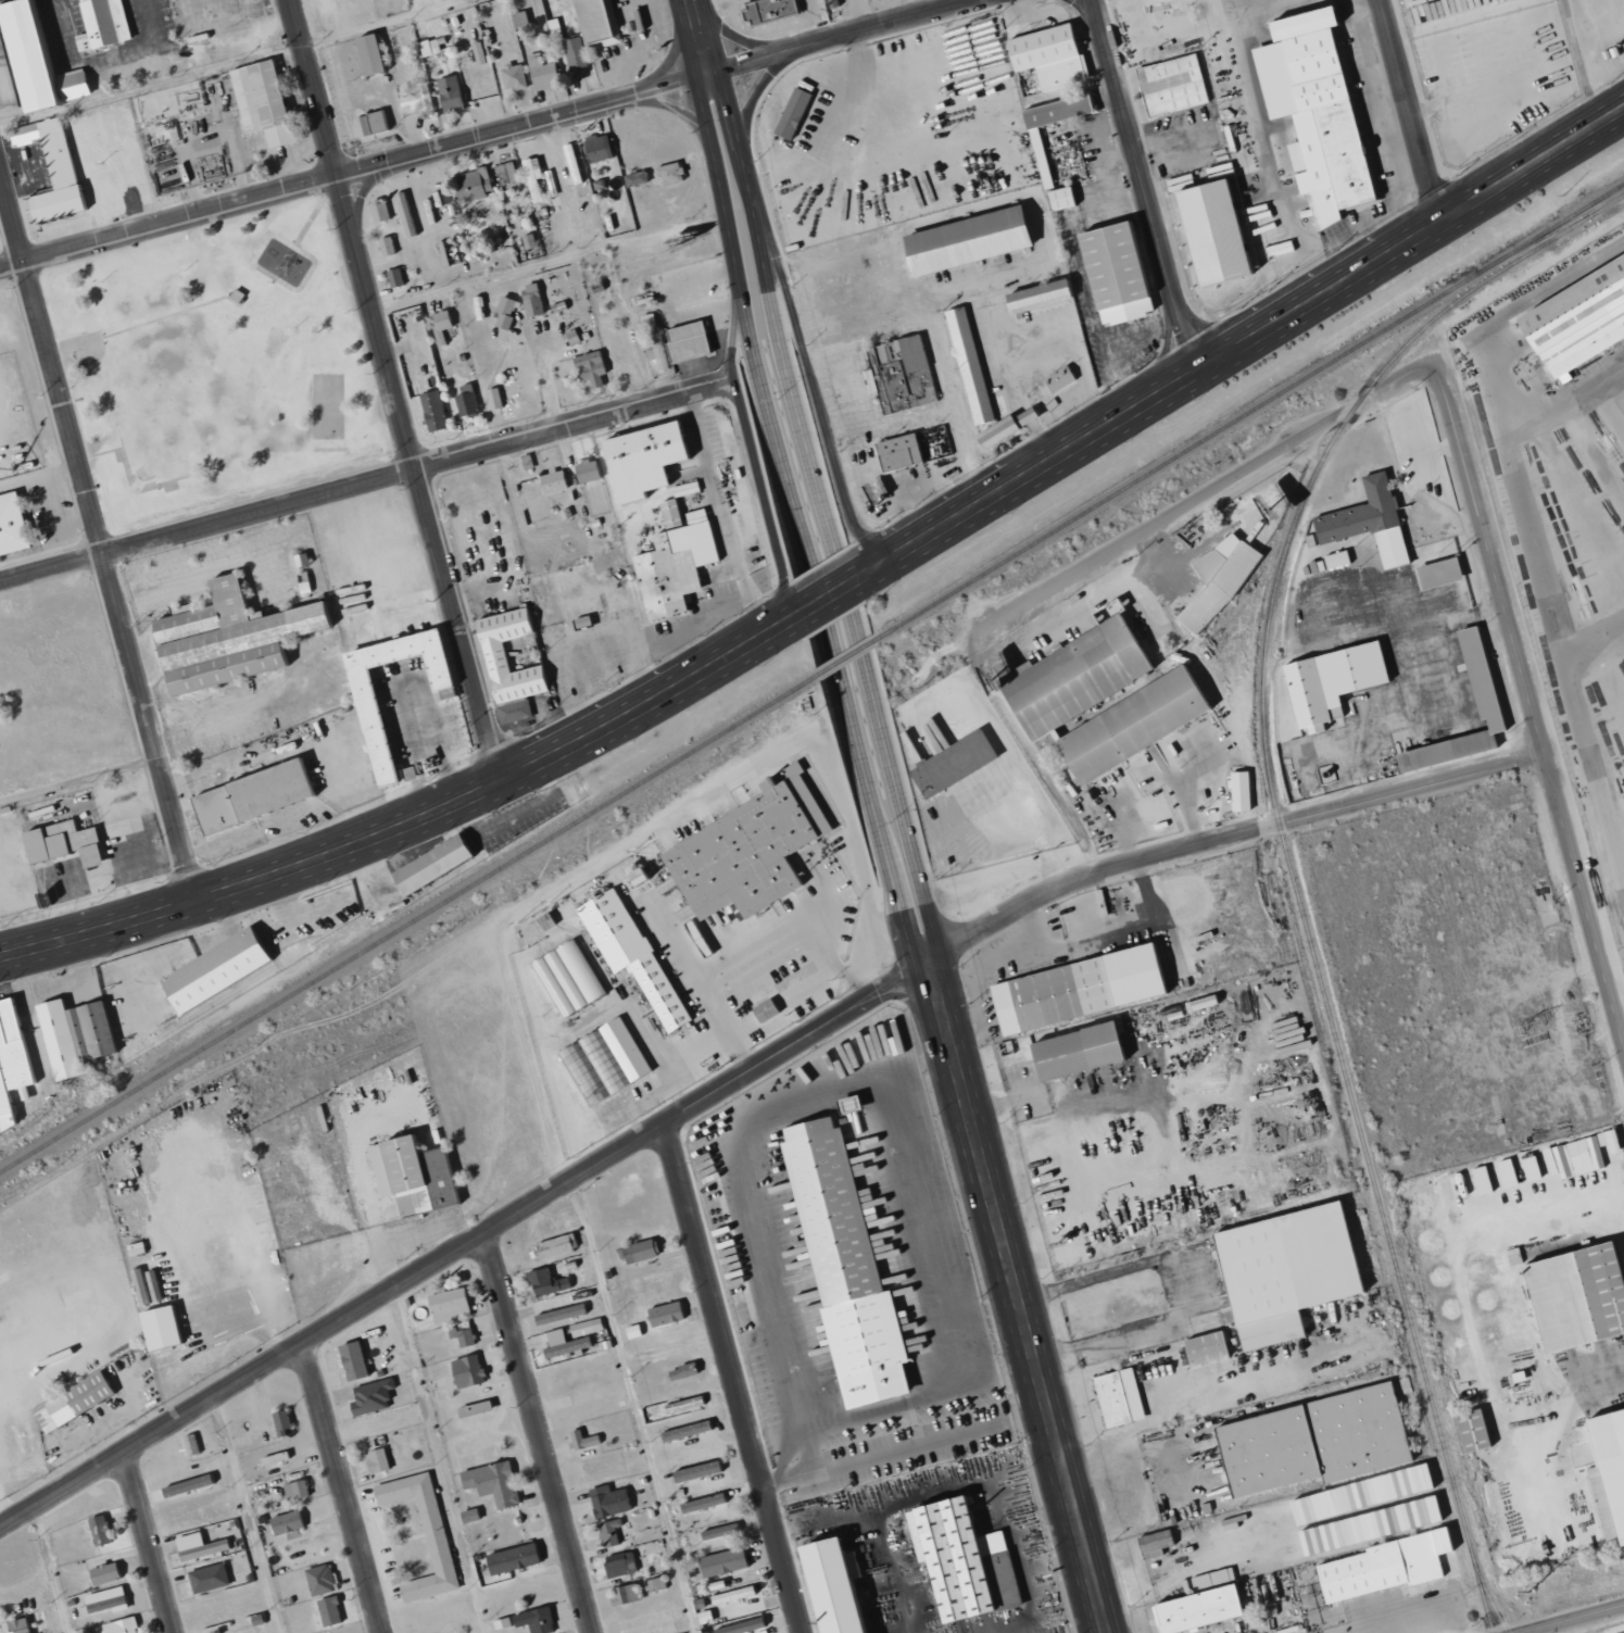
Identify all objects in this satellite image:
building: (829, 3)
building: (765, 10)
building: (602, 21)
building: (106, 24)
road: (698, 41)
building: (432, 47)
building: (578, 53)
building: (378, 54)
building: (1046, 56)
building: (544, 73)
building: (515, 77)
building: (1170, 86)
building: (451, 96)
building: (421, 101)
building: (267, 102)
building: (159, 103)
road: (1410, 110)
building: (1311, 111)
building: (790, 113)
building: (375, 124)
building: (84, 131)
road: (482, 134)
building: (601, 148)
building: (1037, 156)
building: (58, 168)
building: (675, 174)
building: (640, 179)
building: (537, 181)
building: (475, 185)
road: (1146, 187)
building: (1058, 198)
building: (382, 211)
railway: (1563, 225)
building: (1207, 230)
building: (390, 247)
building: (398, 278)
building: (536, 301)
building: (992, 312)
building: (511, 313)
building: (1573, 318)
building: (444, 326)
road: (775, 330)
road: (748, 340)
road: (1246, 341)
building: (694, 342)
building: (660, 354)
park: (216, 363)
building: (595, 368)
building: (902, 374)
road: (816, 387)
road: (396, 390)
building: (498, 400)
building: (469, 402)
railway: (1247, 411)
building: (437, 412)
road: (750, 448)
building: (895, 453)
building: (650, 462)
building: (592, 472)
road: (365, 480)
building: (557, 481)
road: (1204, 494)
road: (723, 516)
building: (1364, 522)
building: (15, 526)
road: (98, 538)
building: (1334, 560)
building: (681, 563)
building: (1436, 573)
building: (1217, 579)
road: (835, 593)
building: (187, 610)
building: (236, 640)
railway: (844, 658)
railway: (1172, 662)
building: (503, 668)
building: (1475, 674)
building: (387, 676)
building: (1329, 683)
building: (1052, 696)
road: (1529, 706)
building: (387, 738)
building: (454, 742)
road: (889, 763)
building: (949, 764)
road: (863, 774)
building: (1237, 791)
building: (260, 797)
road: (416, 820)
building: (71, 844)
railway: (1285, 850)
building: (744, 851)
building: (441, 864)
railway: (407, 924)
building: (628, 954)
building: (224, 969)
road: (859, 971)
building: (565, 978)
road: (816, 983)
railway: (248, 988)
building: (1073, 989)
railway: (209, 1005)
building: (761, 1010)
building: (80, 1037)
building: (1071, 1052)
building: (602, 1062)
building: (14, 1068)
road: (743, 1075)
railway: (46, 1110)
building: (1592, 1152)
building: (418, 1176)
building: (554, 1246)
building: (637, 1251)
building: (841, 1267)
building: (1281, 1271)
building: (544, 1282)
road: (1014, 1287)
building: (1573, 1297)
building: (446, 1305)
building: (664, 1312)
building: (558, 1314)
building: (167, 1329)
building: (581, 1331)
building: (459, 1333)
building: (565, 1345)
building: (1203, 1348)
building: (350, 1360)
building: (465, 1370)
road: (732, 1378)
building: (1116, 1398)
building: (79, 1403)
building: (681, 1405)
road: (634, 1406)
building: (471, 1408)
building: (279, 1422)
building: (1469, 1431)
road: (540, 1432)
building: (579, 1439)
building: (1310, 1442)
building: (188, 1444)
building: (272, 1458)
building: (375, 1460)
road: (438, 1460)
building: (1609, 1466)
building: (693, 1471)
building: (1417, 1478)
building: (491, 1483)
building: (186, 1485)
road: (342, 1487)
building: (293, 1488)
building: (607, 1500)
building: (702, 1502)
road: (246, 1515)
building: (468, 1516)
building: (1405, 1516)
building: (285, 1522)
building: (99, 1529)
building: (718, 1531)
building: (610, 1532)
building: (411, 1535)
road: (149, 1542)
building: (1153, 1544)
building: (200, 1549)
building: (511, 1558)
building: (721, 1561)
building: (959, 1561)
building: (618, 1563)
building: (1380, 1567)
road: (47, 1570)
building: (102, 1573)
building: (206, 1578)
building: (318, 1579)
building: (655, 1584)
building: (826, 1585)
power tower: (1528, 1591)
building: (622, 1594)
railway: (1488, 1598)
building: (106, 1604)
building: (1197, 1604)
building: (327, 1610)
road: (1570, 1619)
building: (533, 1620)
building: (501, 1622)
building: (14, 1625)
building: (118, 1625)
building: (740, 1626)
building: (227, 1631)

